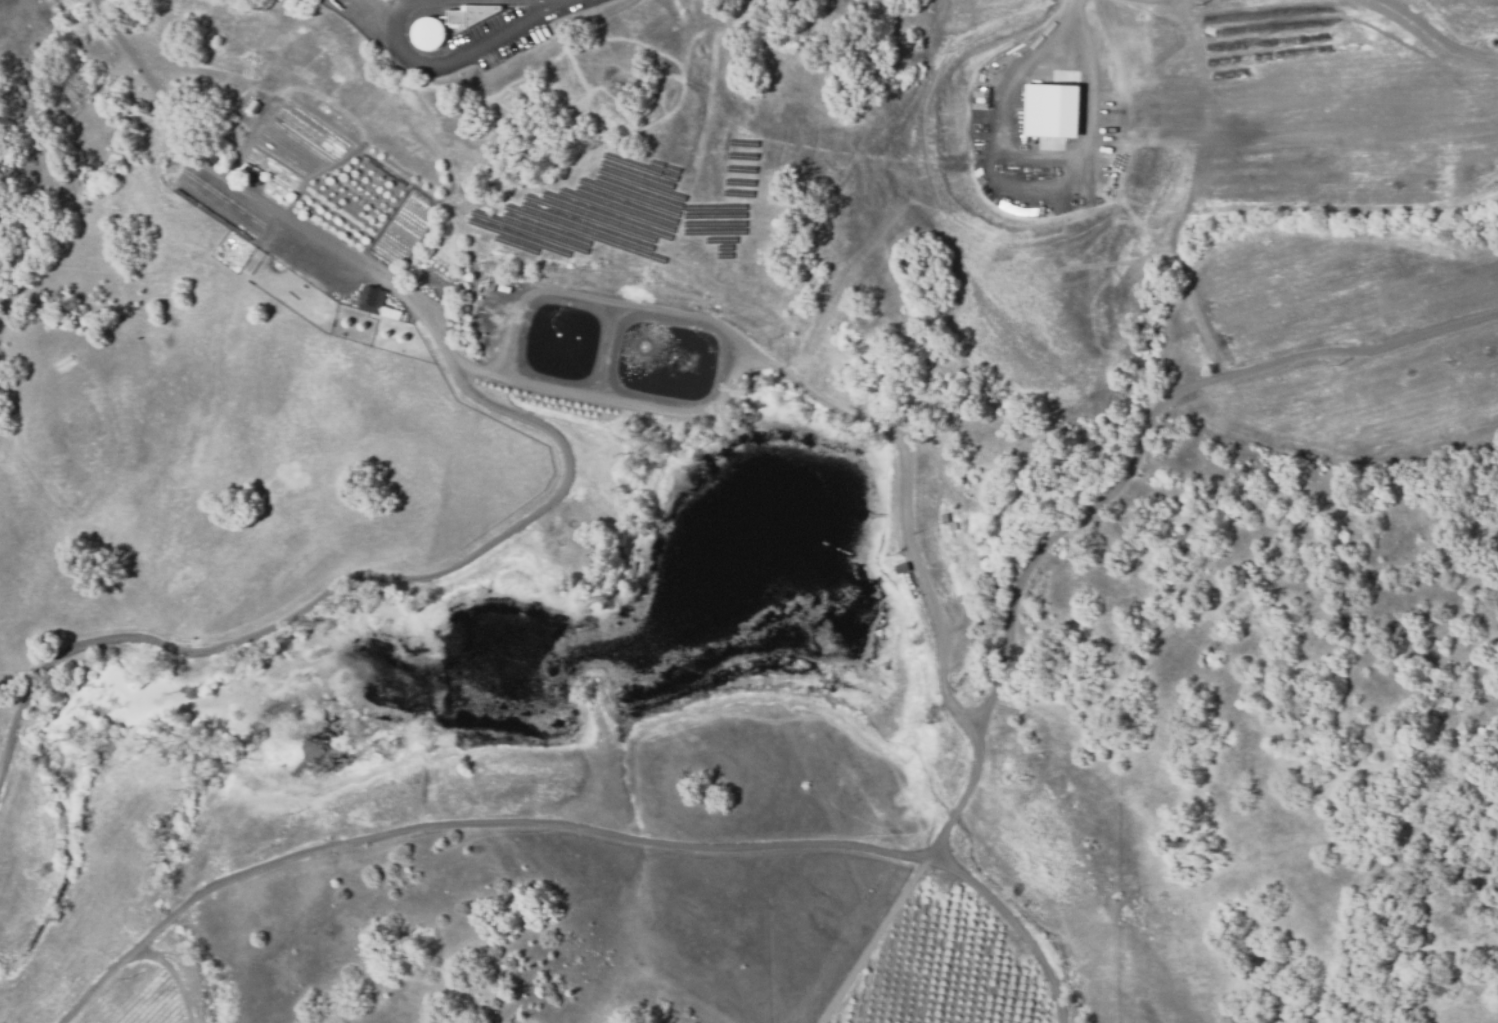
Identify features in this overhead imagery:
building: (470, 14)
building: (428, 33)
road: (464, 48)
building: (252, 104)
building: (1049, 111)
building: (257, 180)
building: (503, 288)
building: (368, 300)
road: (743, 367)
building: (943, 519)
building: (951, 526)
building: (901, 567)

